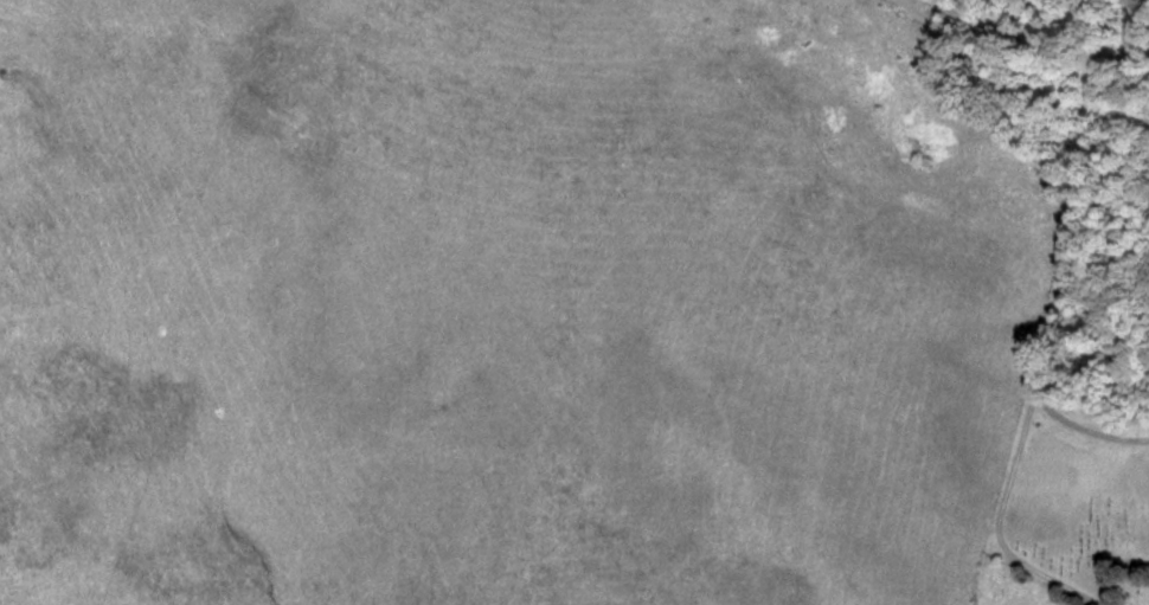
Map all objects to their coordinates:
road: (1013, 73)
road: (1071, 231)
park: (1074, 496)

